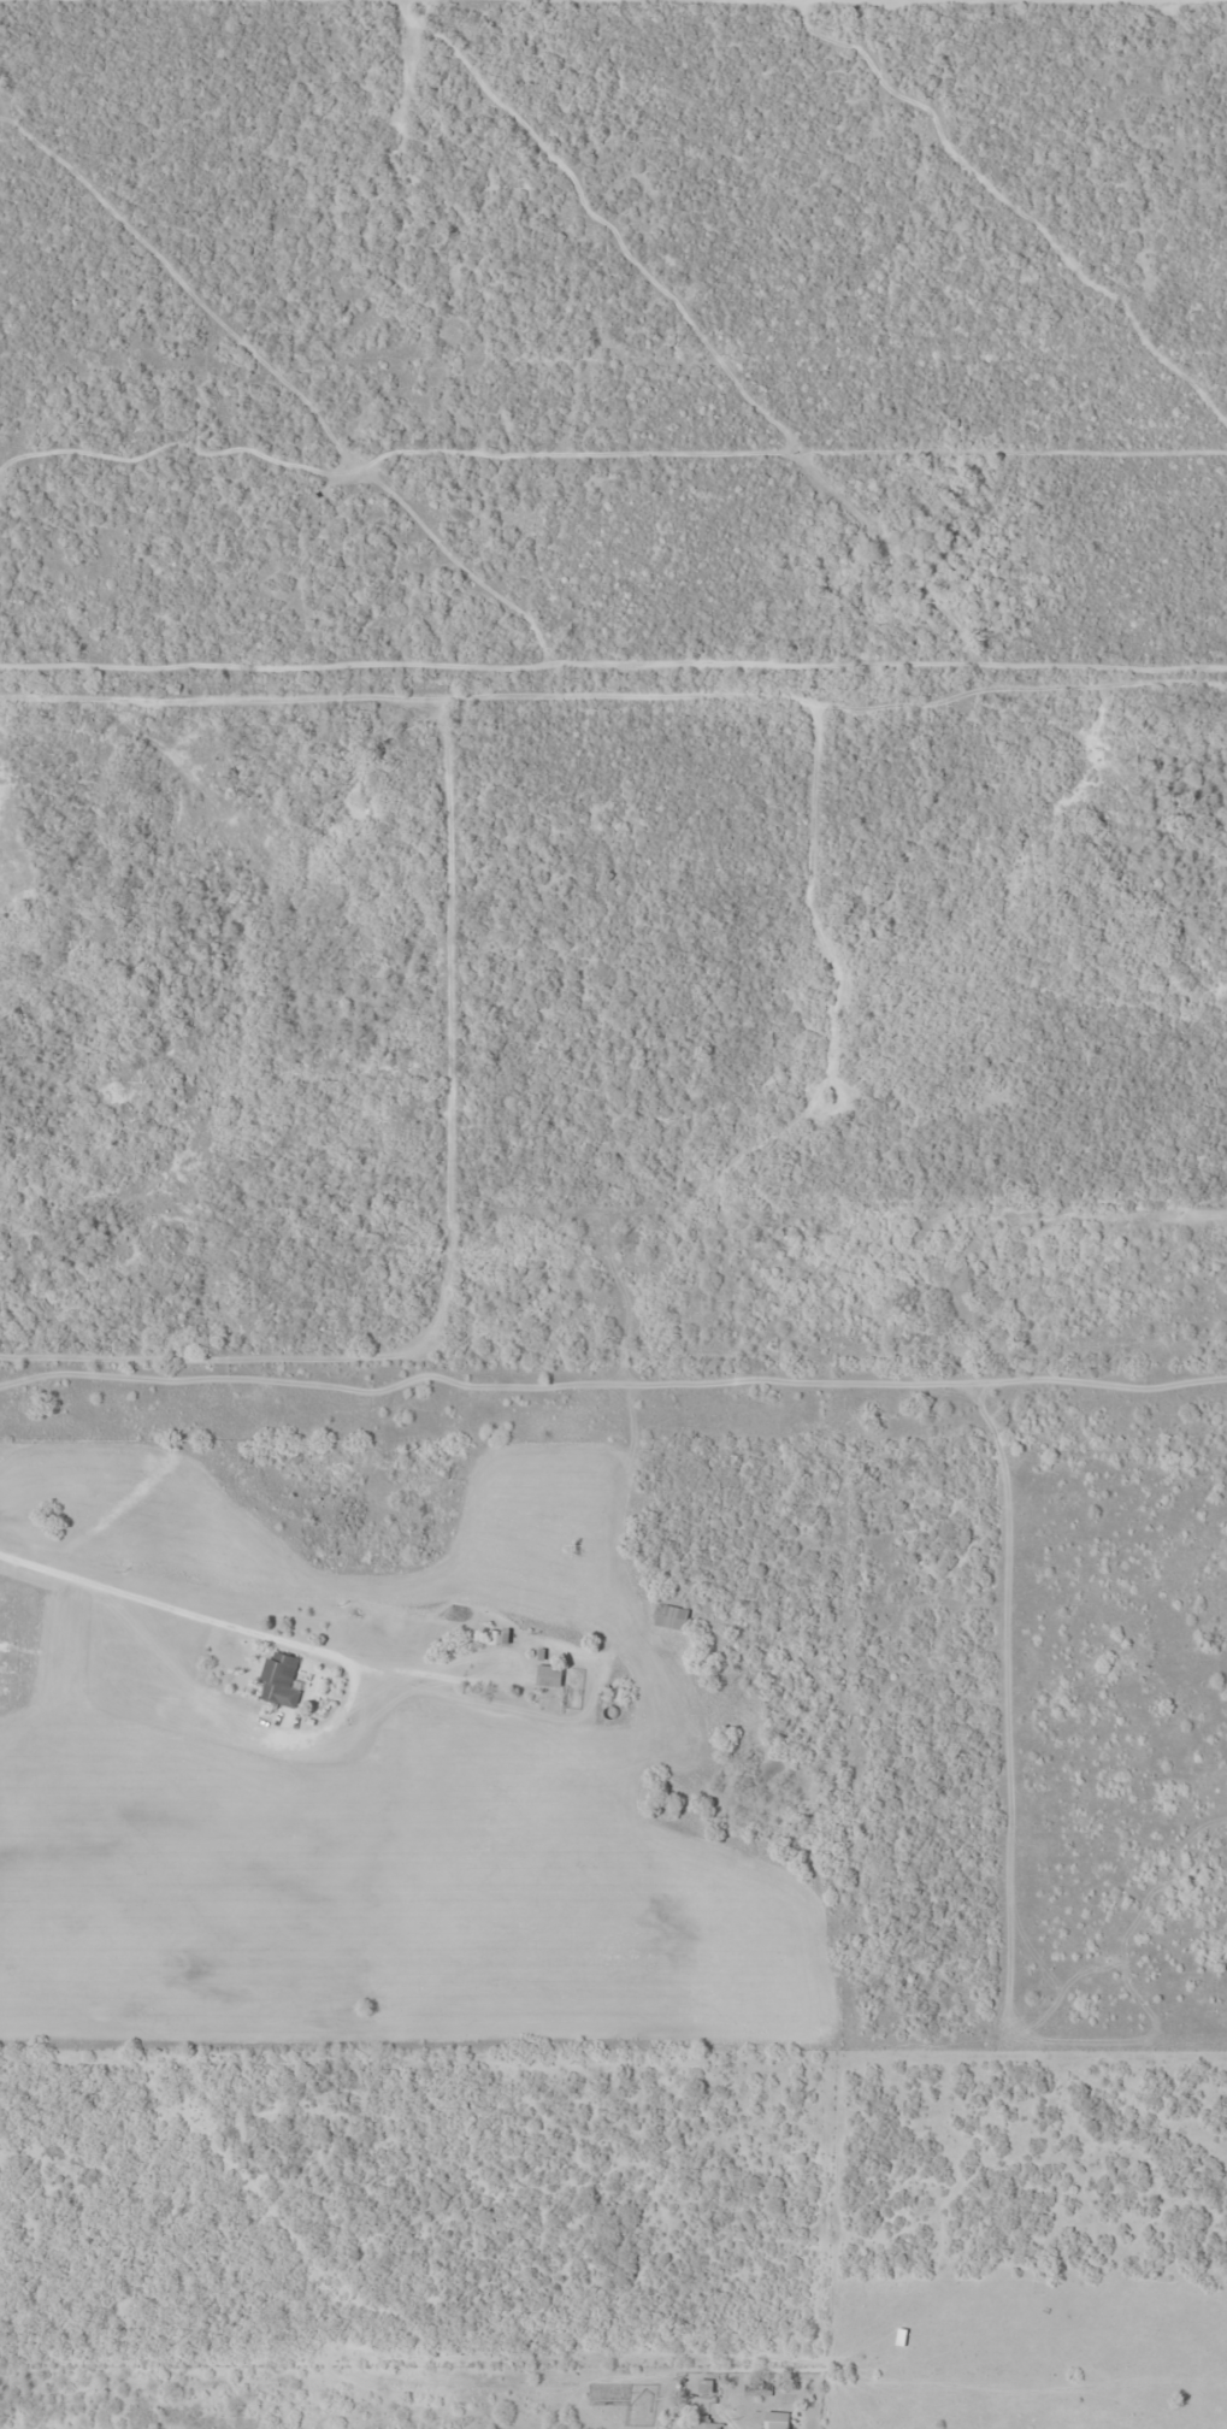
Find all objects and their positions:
road: (572, 635)
building: (668, 1615)
building: (497, 1637)
building: (548, 1674)
building: (278, 1678)
building: (777, 2419)
building: (704, 2425)

